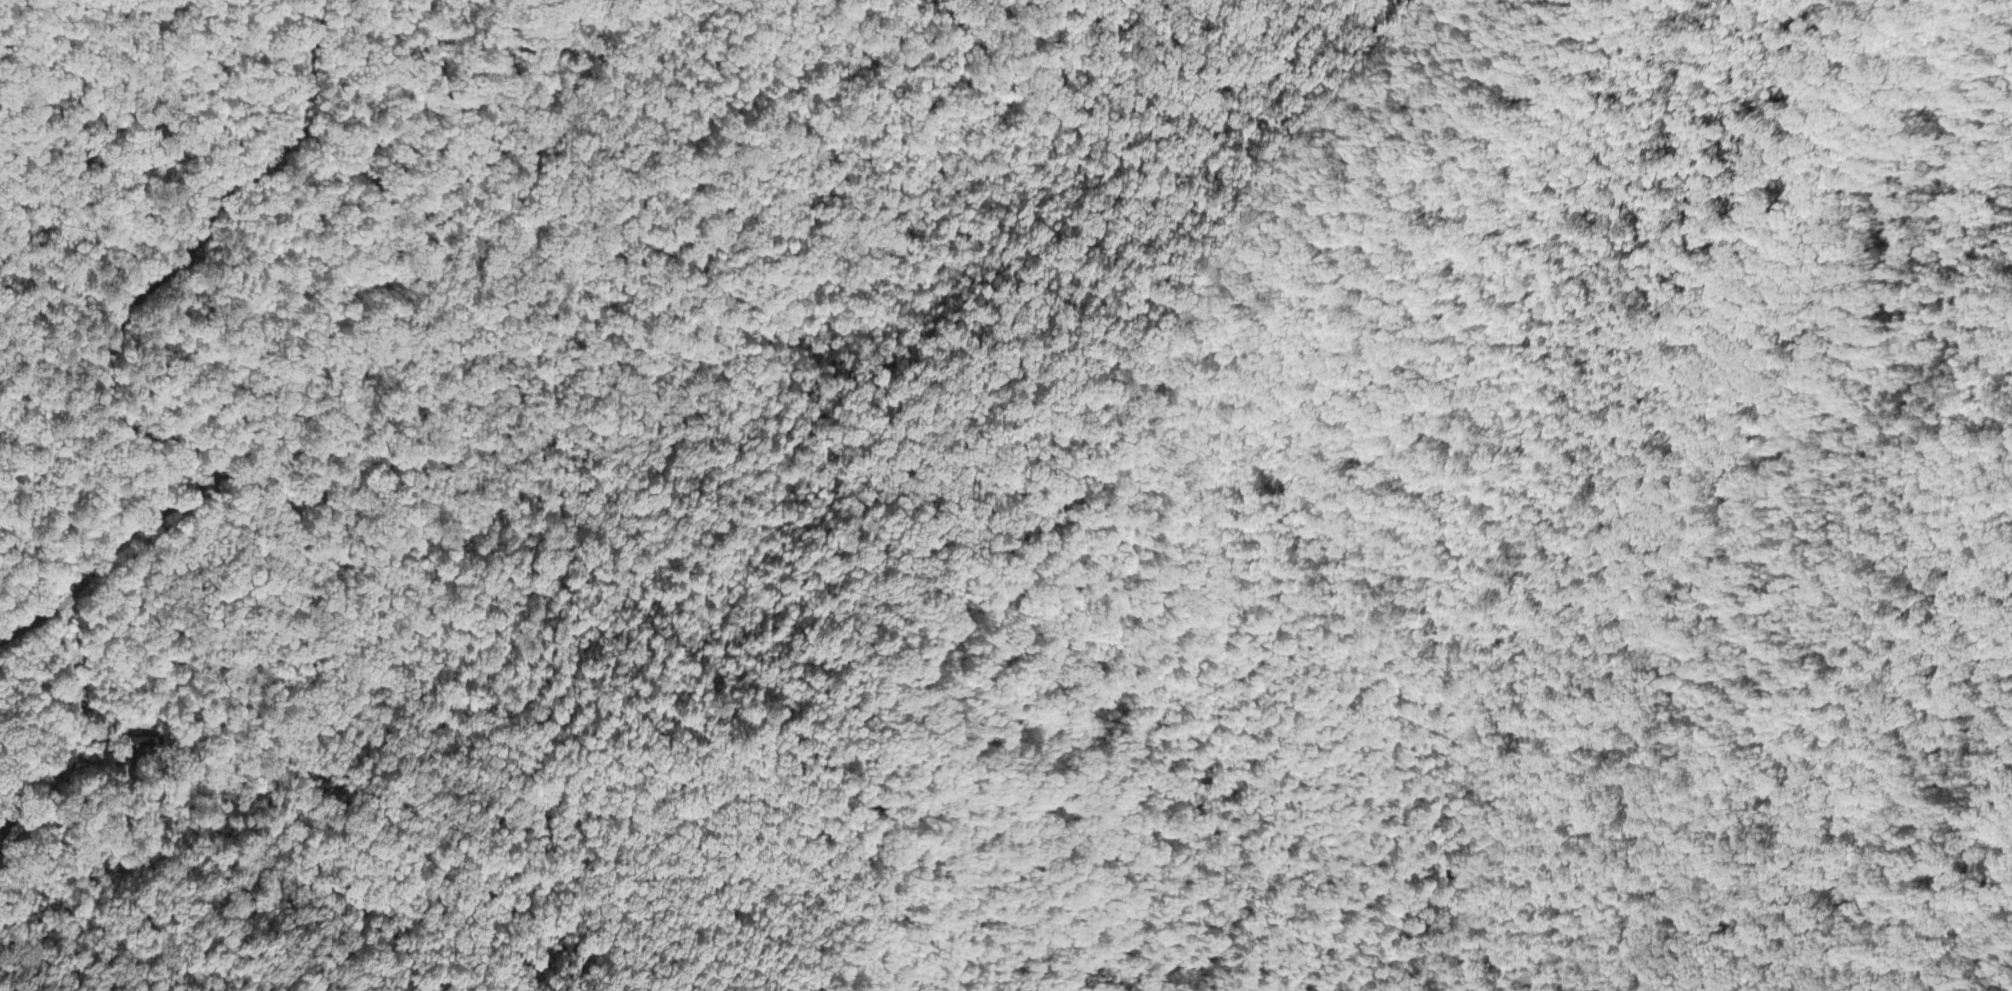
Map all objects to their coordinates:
road: (693, 26)
road: (210, 466)
building: (147, 747)

